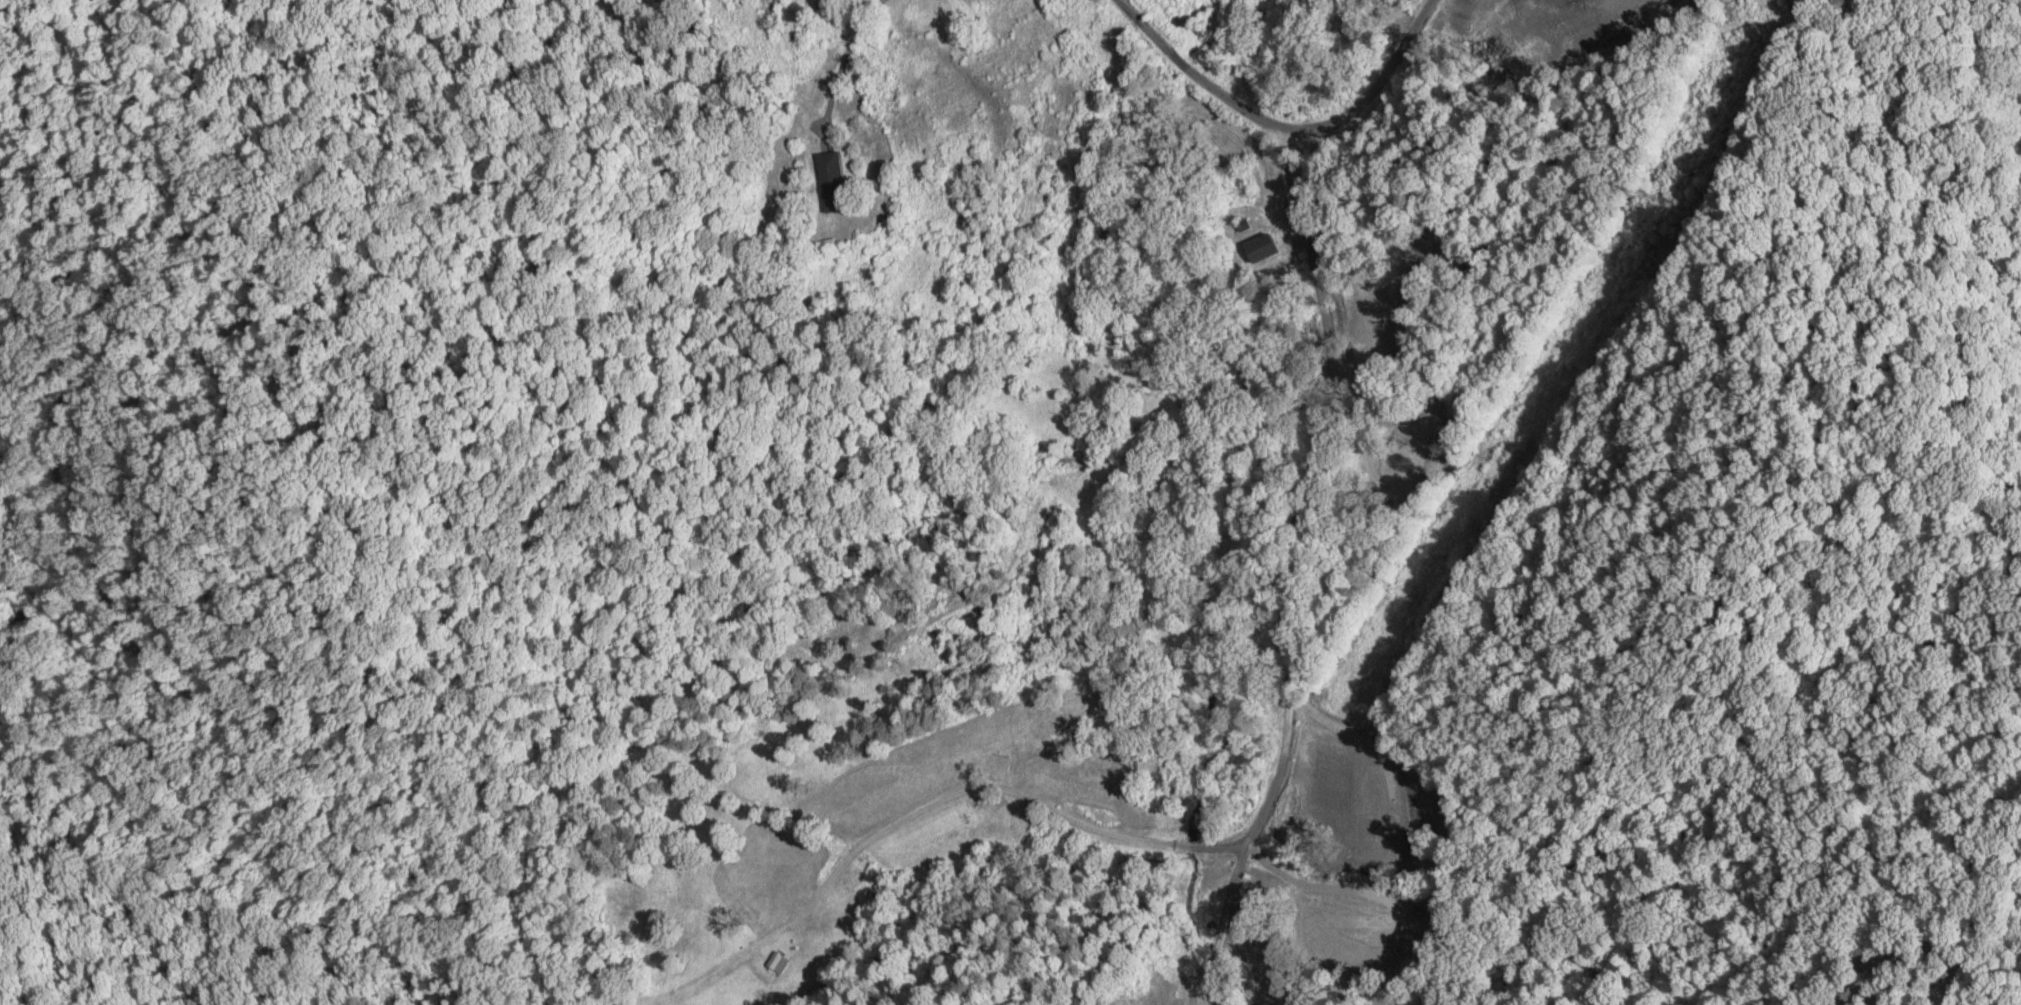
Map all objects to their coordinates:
road: (1286, 130)
building: (831, 180)
power tower: (1647, 200)
building: (1266, 248)
road: (1293, 571)
building: (773, 963)

